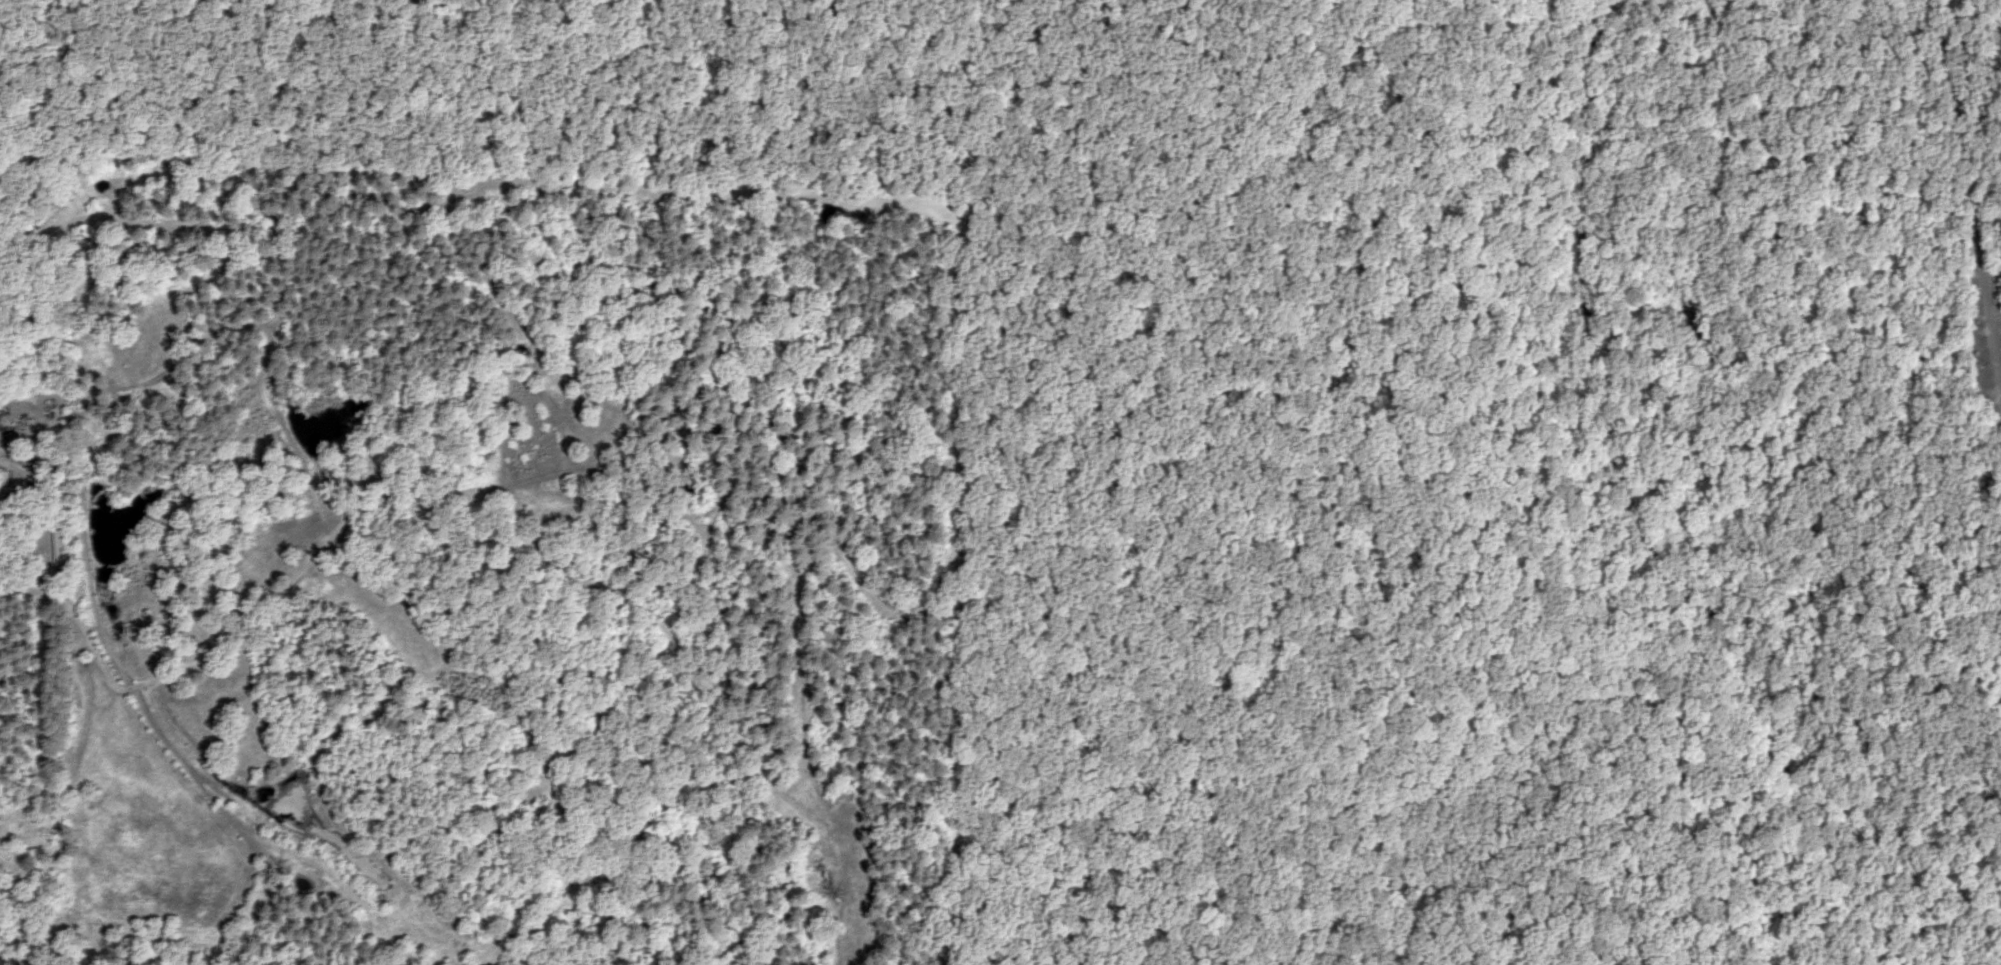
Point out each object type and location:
road: (1972, 183)
road: (1007, 227)
park: (1361, 434)
road: (1701, 546)

